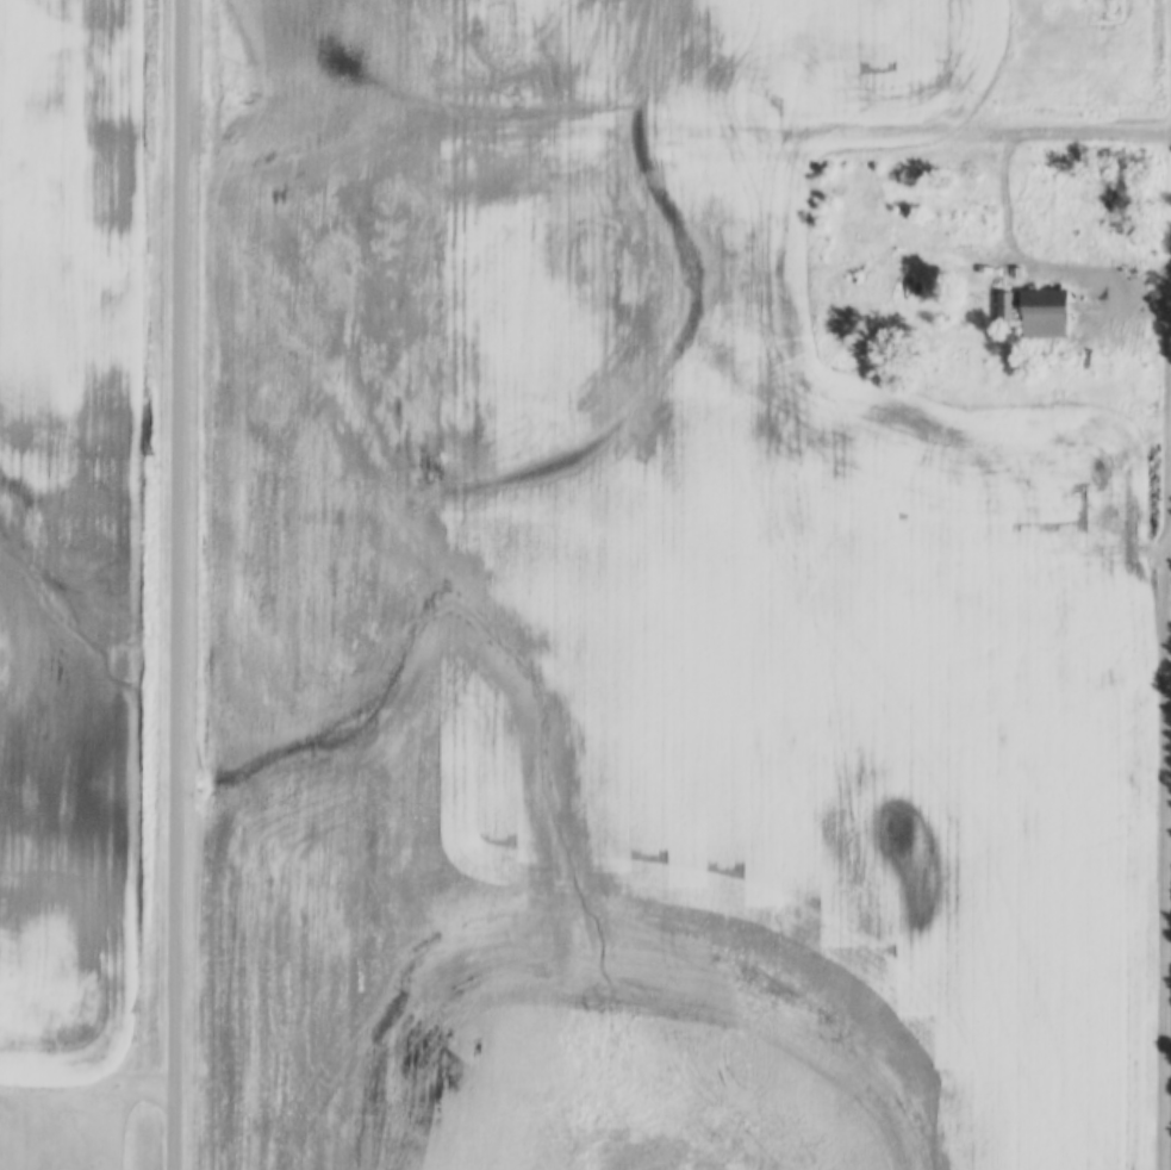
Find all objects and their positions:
road: (674, 129)
road: (1073, 275)
building: (1048, 315)
road: (175, 585)
park: (61, 1127)

